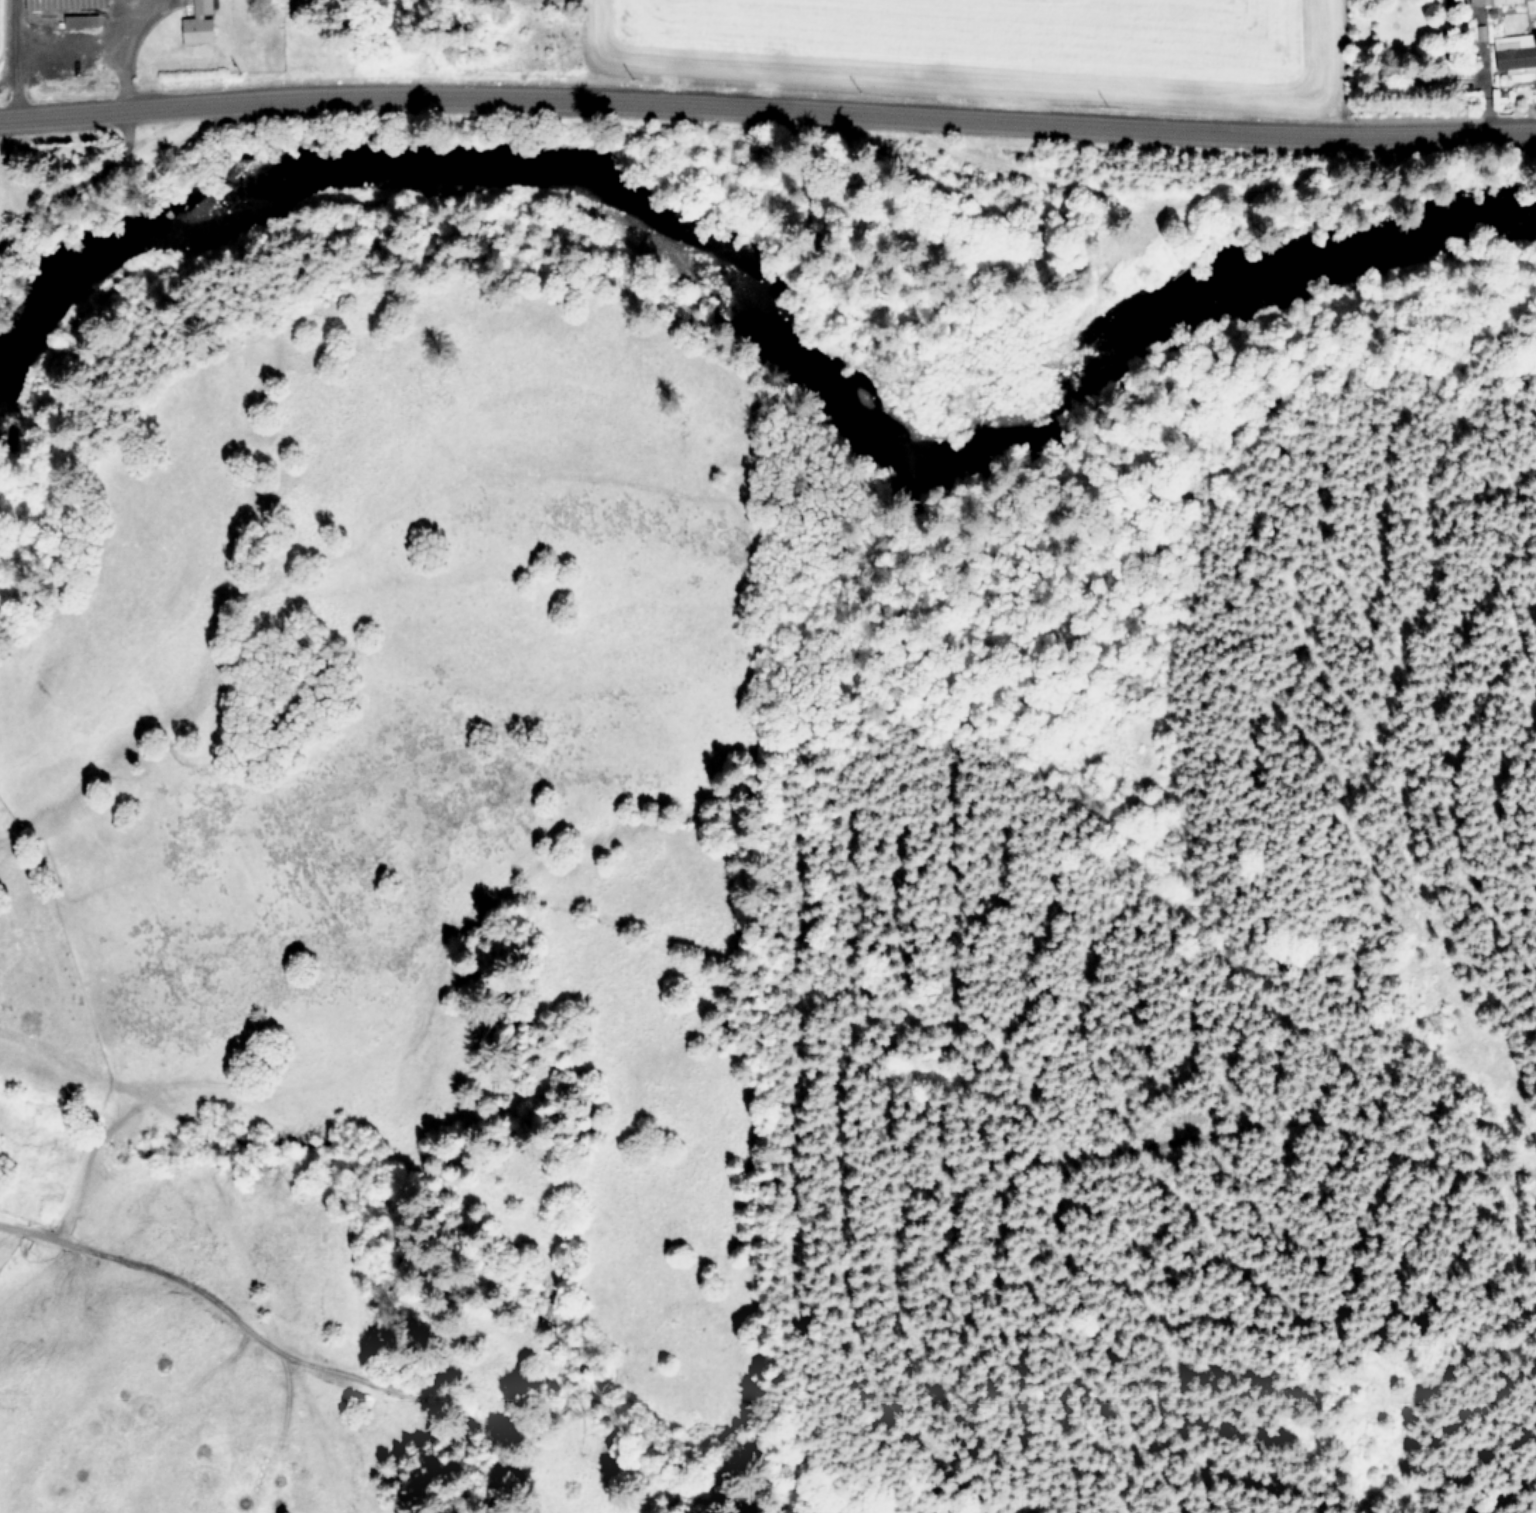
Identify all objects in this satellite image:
building: (68, 3)
road: (127, 20)
building: (201, 21)
road: (98, 34)
crop: (688, 40)
road: (9, 59)
road: (767, 102)
crop: (114, 1358)

